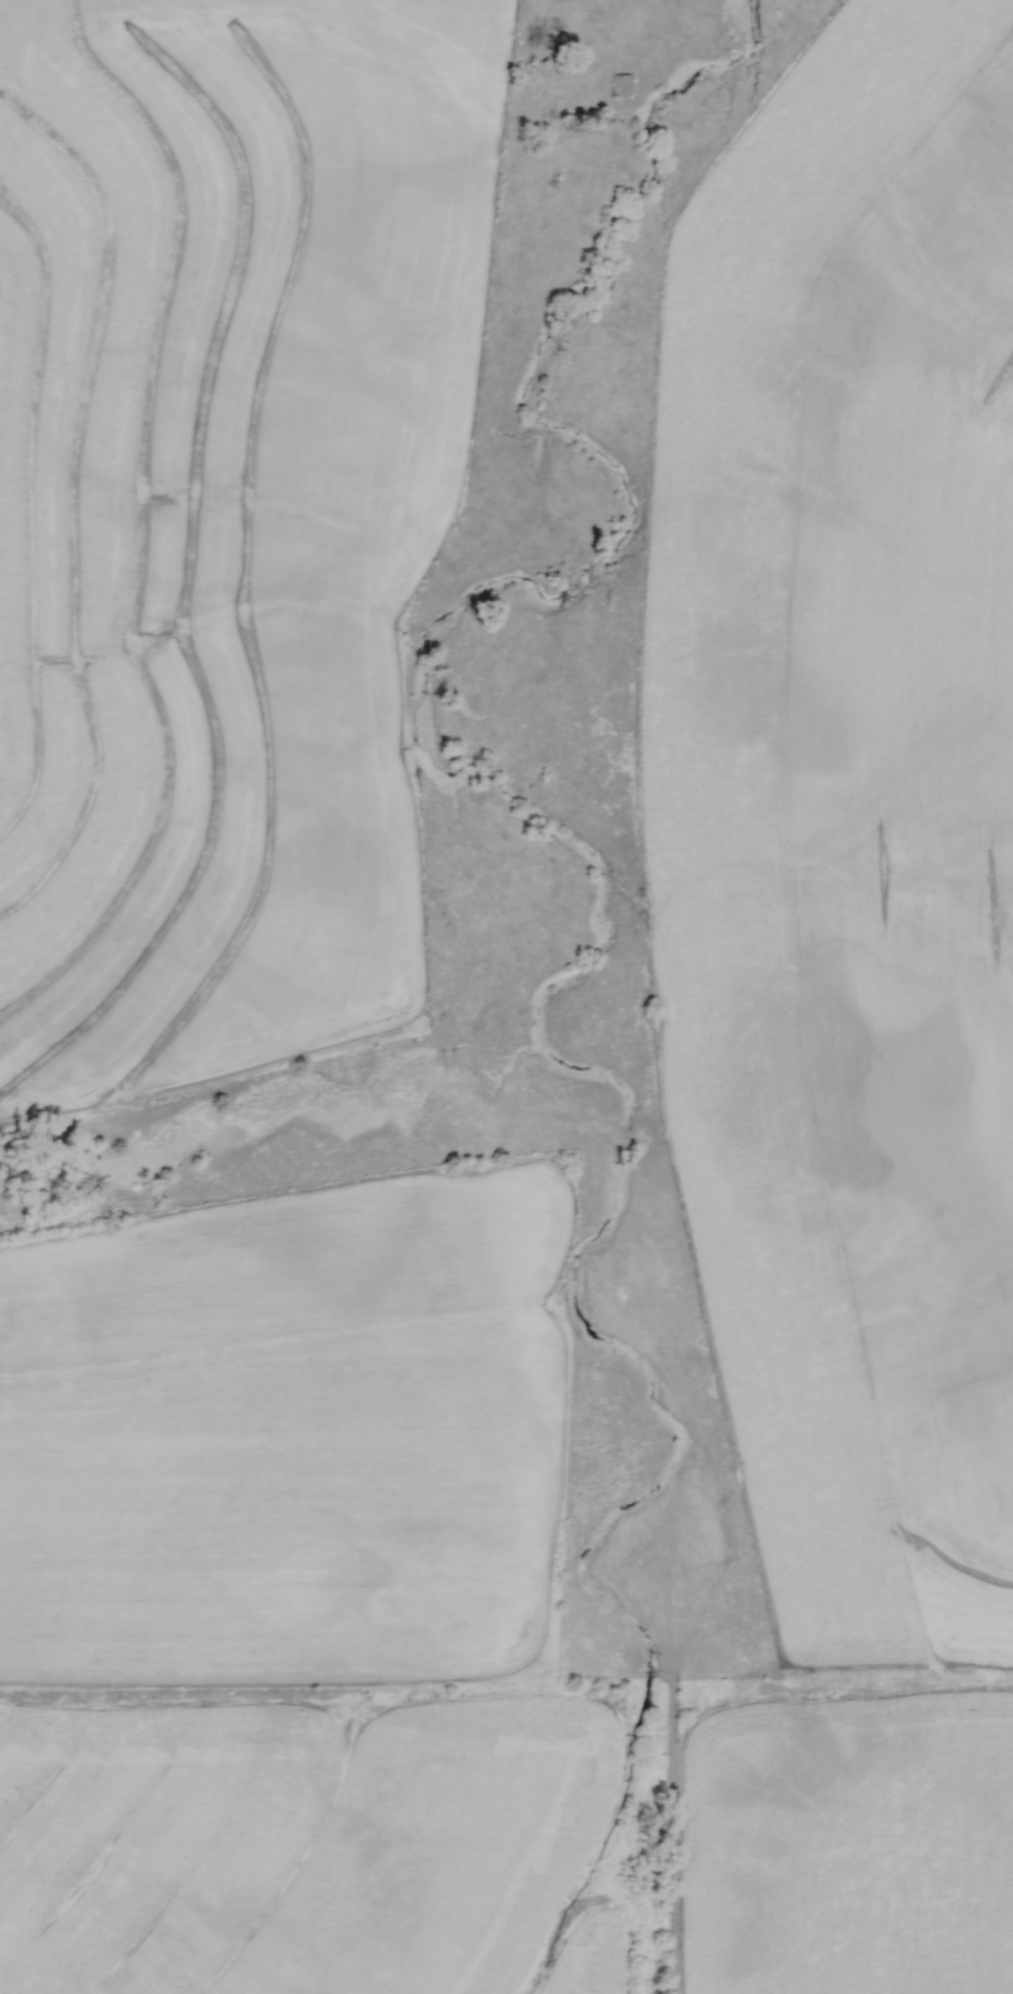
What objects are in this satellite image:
building: (616, 83)

